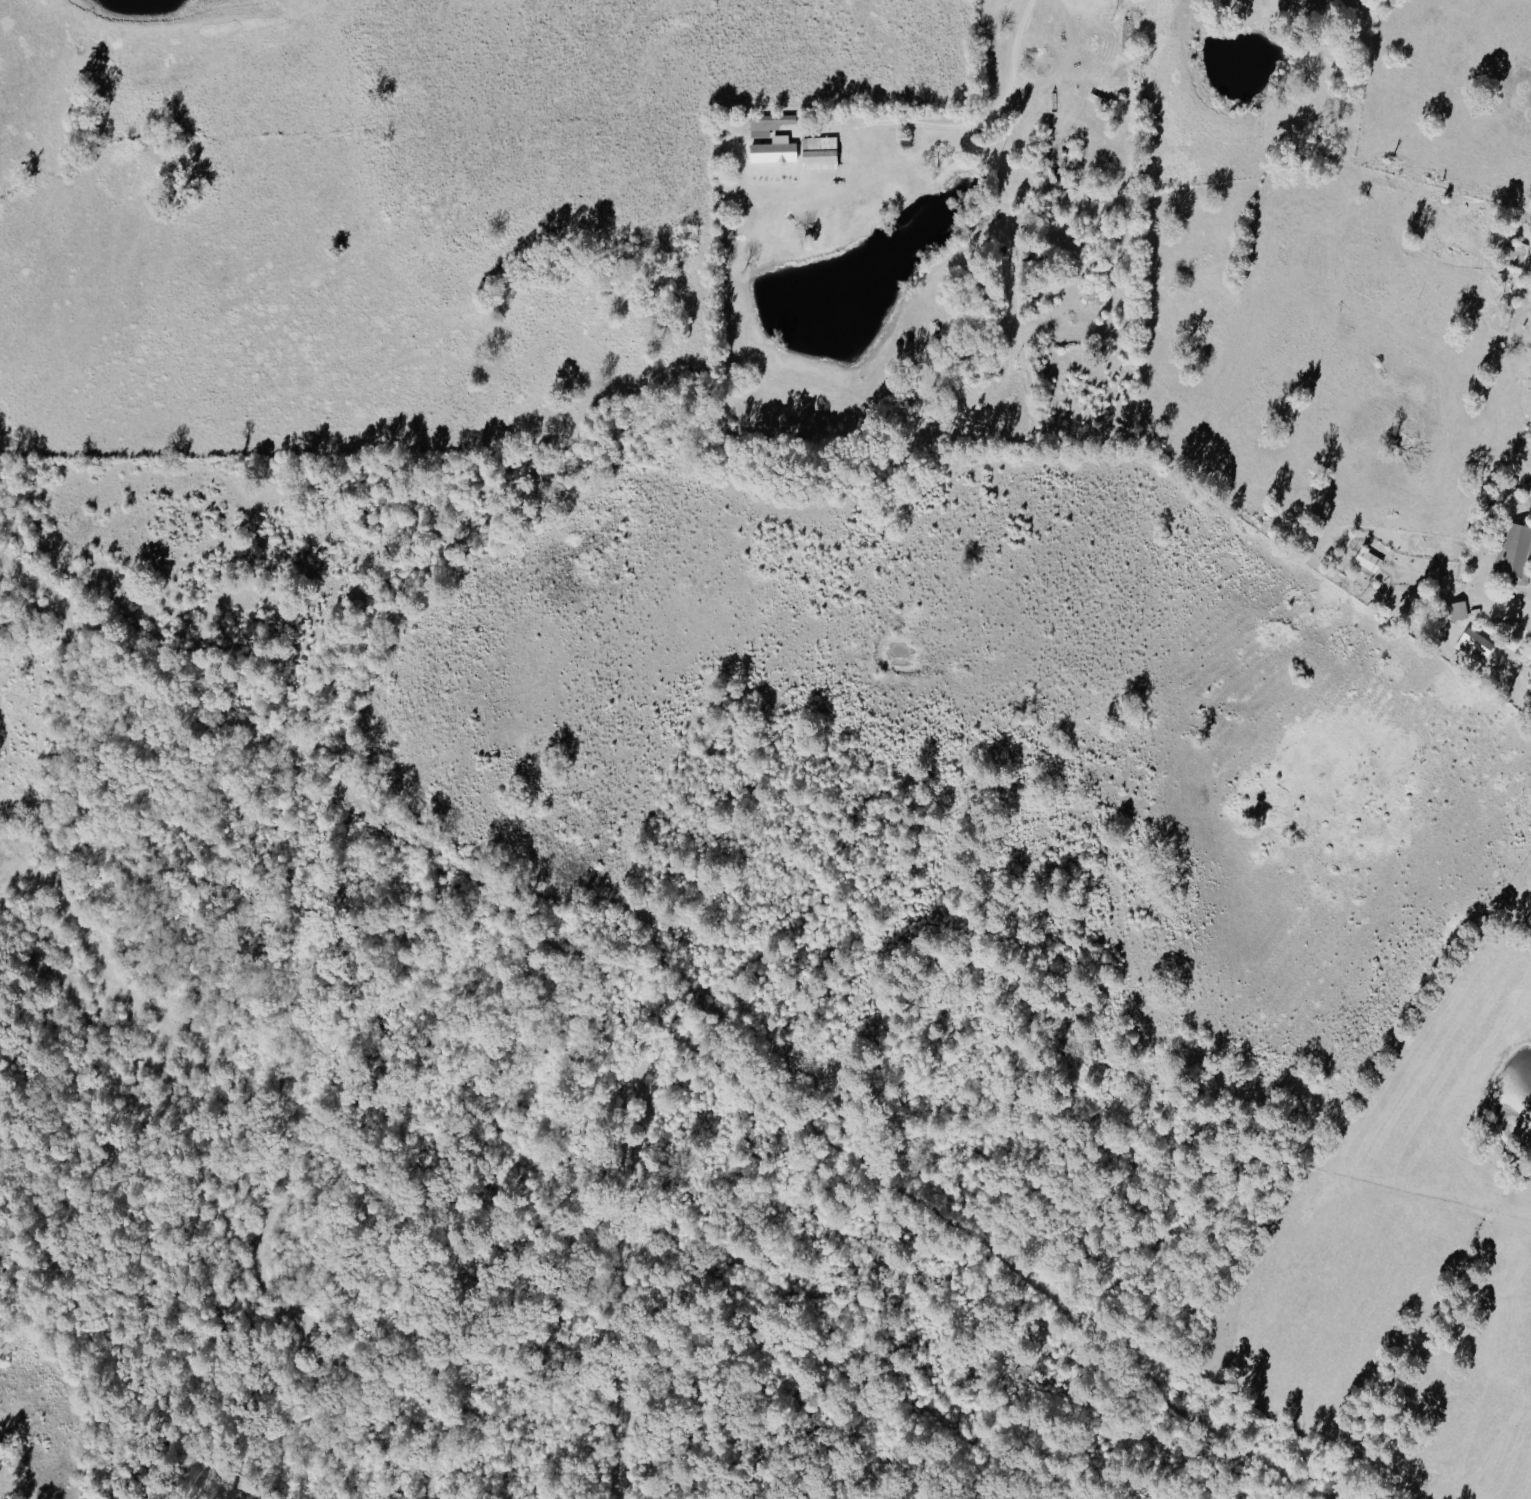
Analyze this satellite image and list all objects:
road: (1030, 80)
road: (944, 131)
building: (775, 149)
building: (820, 152)
building: (1515, 552)
road: (1526, 600)
building: (1458, 611)
building: (1475, 645)

